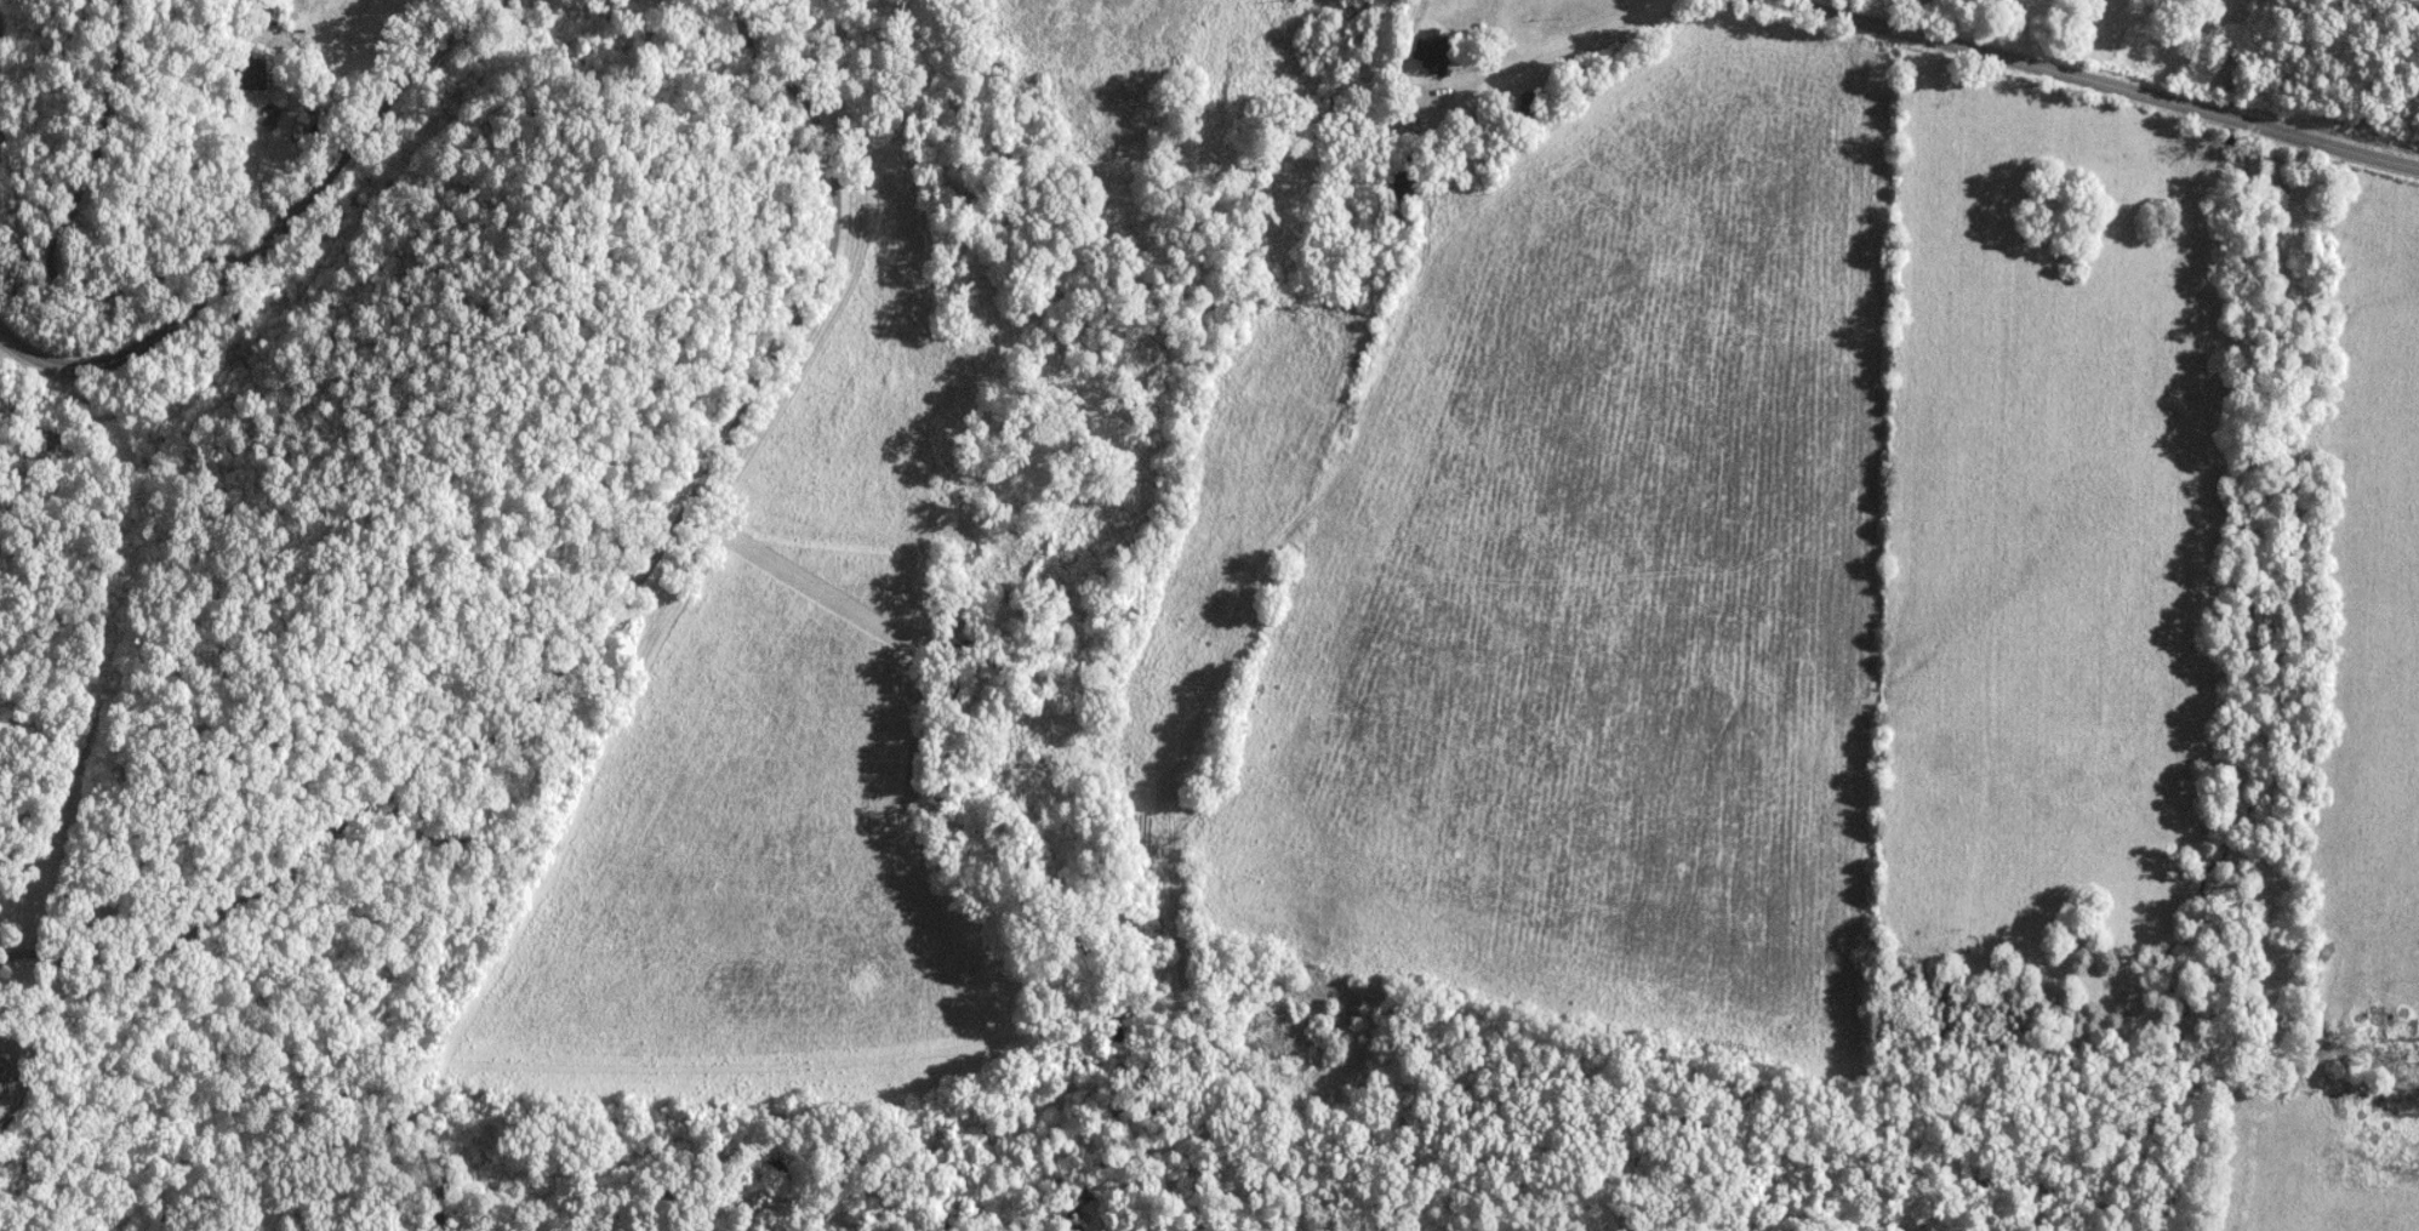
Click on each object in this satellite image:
building: (241, 35)
road: (1414, 47)
building: (1436, 47)
building: (249, 73)
road: (2098, 82)
building: (1530, 107)
building: (1403, 181)
road: (56, 235)
road: (273, 235)
road: (7, 346)
building: (44, 434)
road: (160, 511)
crop: (1598, 572)
road: (597, 621)
building: (4, 1079)

